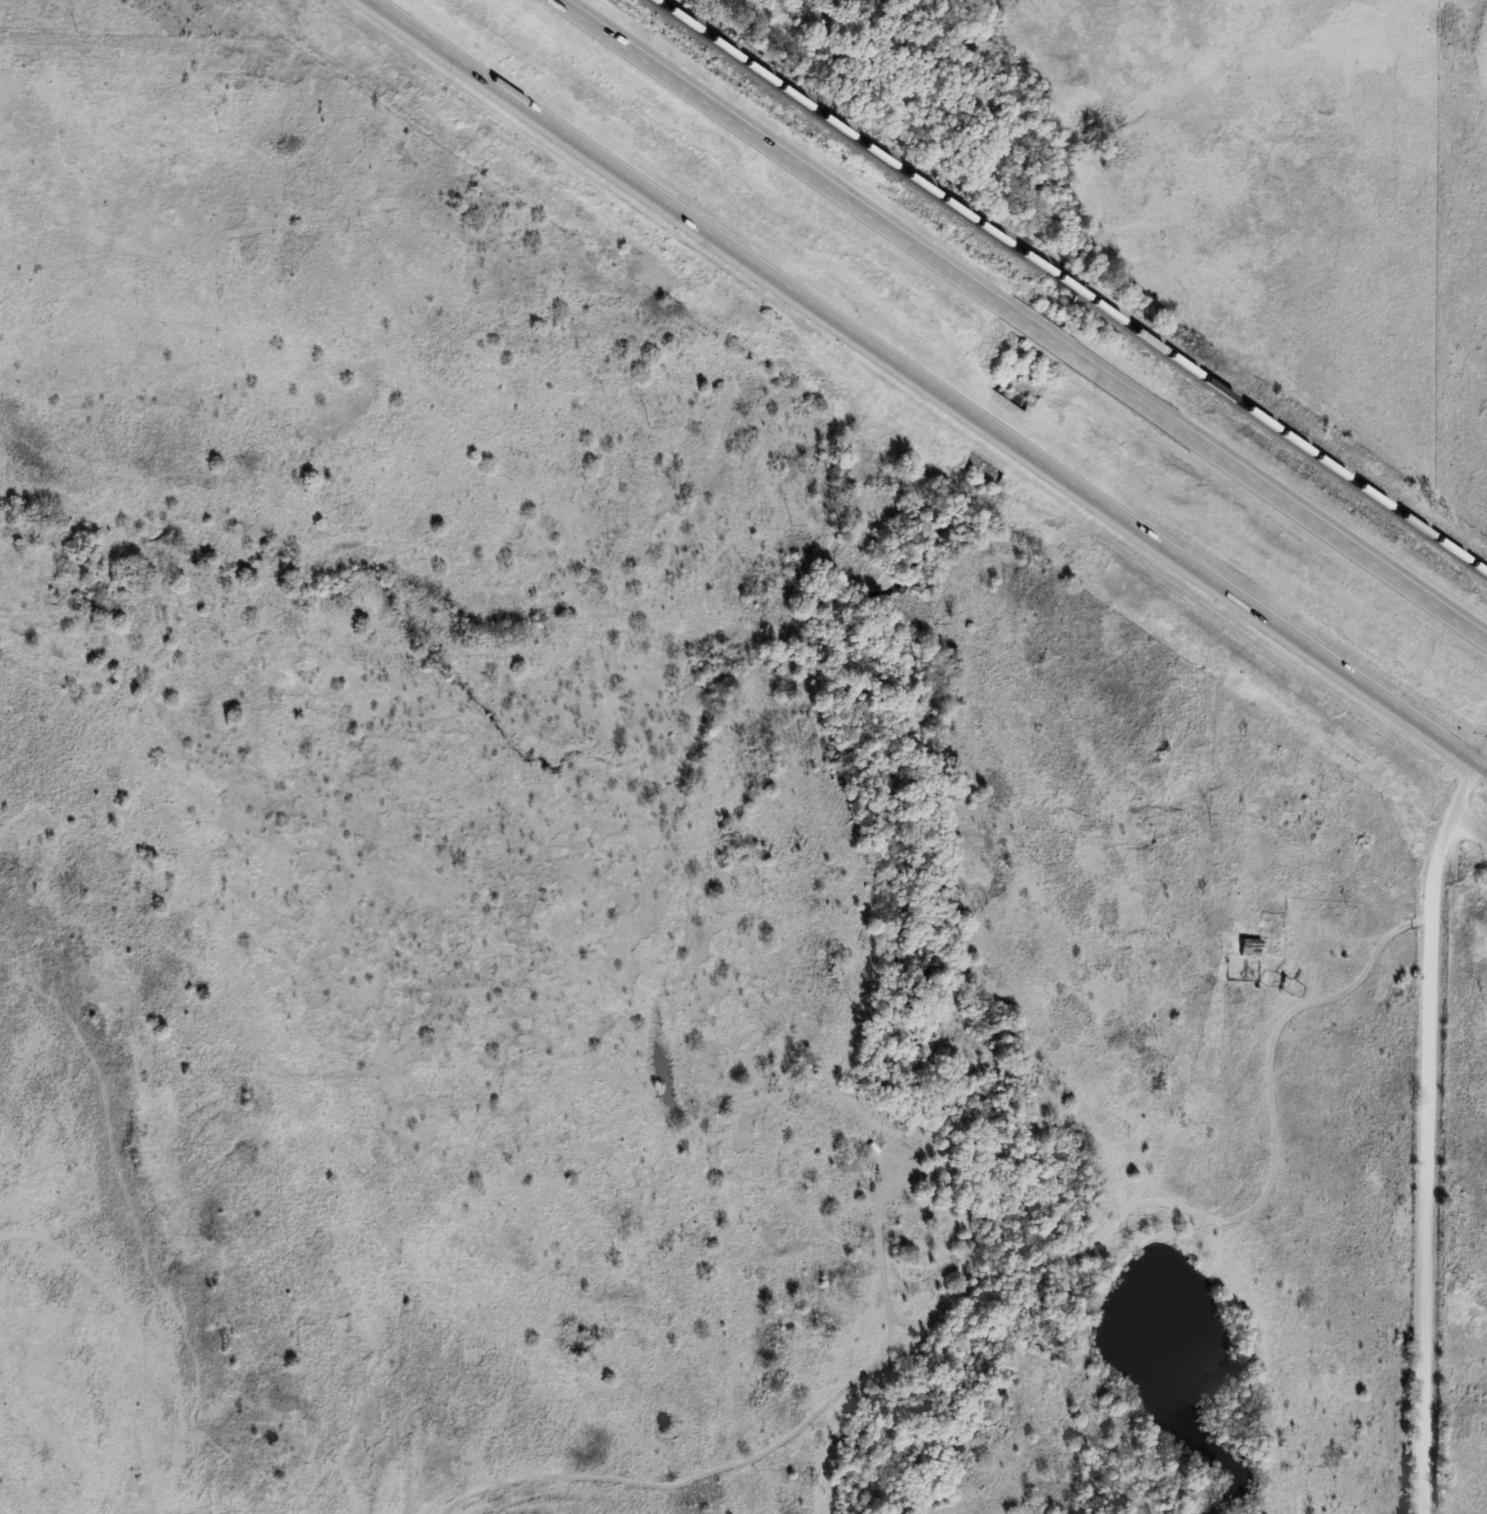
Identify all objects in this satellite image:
railway: (846, 135)
railway: (1057, 282)
road: (1028, 316)
road: (932, 381)
railway: (1280, 435)
road: (1485, 765)
road: (1473, 817)
building: (1245, 948)
road: (1431, 1130)
road: (1010, 1250)

